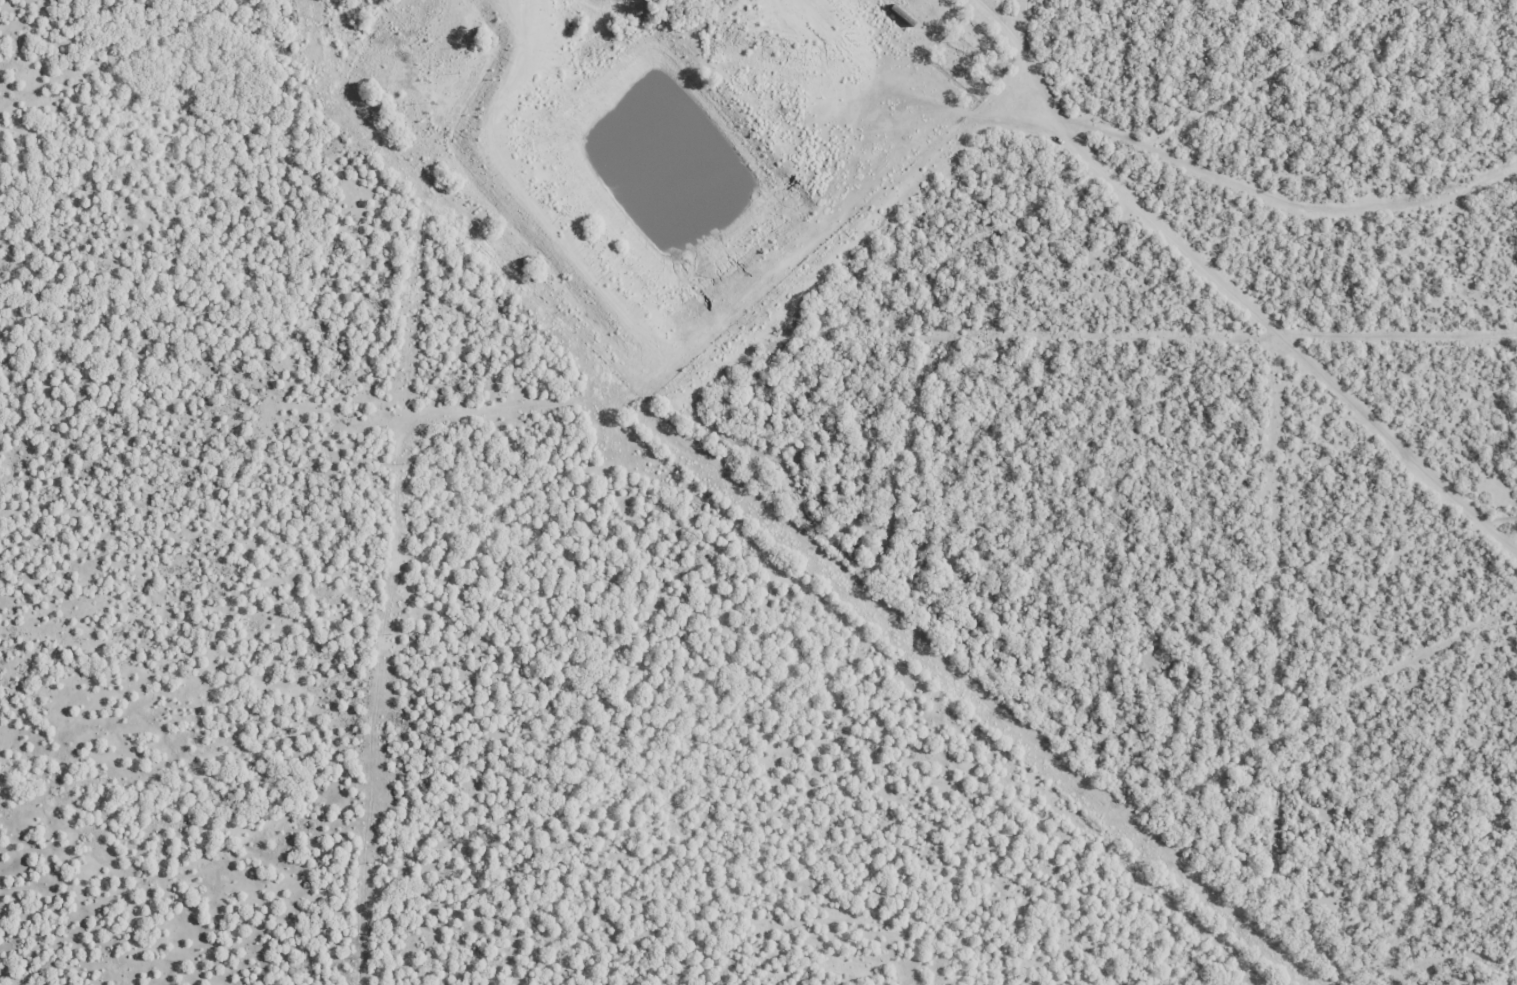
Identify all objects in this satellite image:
road: (1224, 303)

